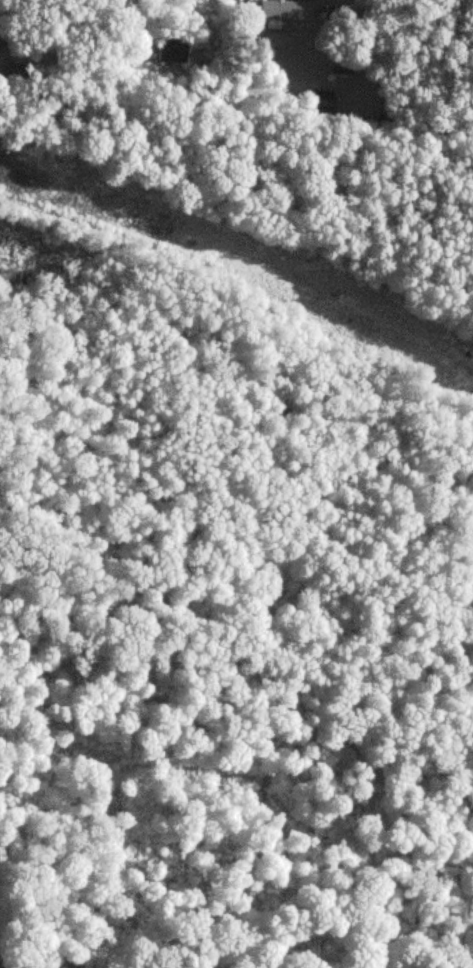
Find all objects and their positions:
building: (280, 10)
building: (2, 25)
building: (172, 51)

